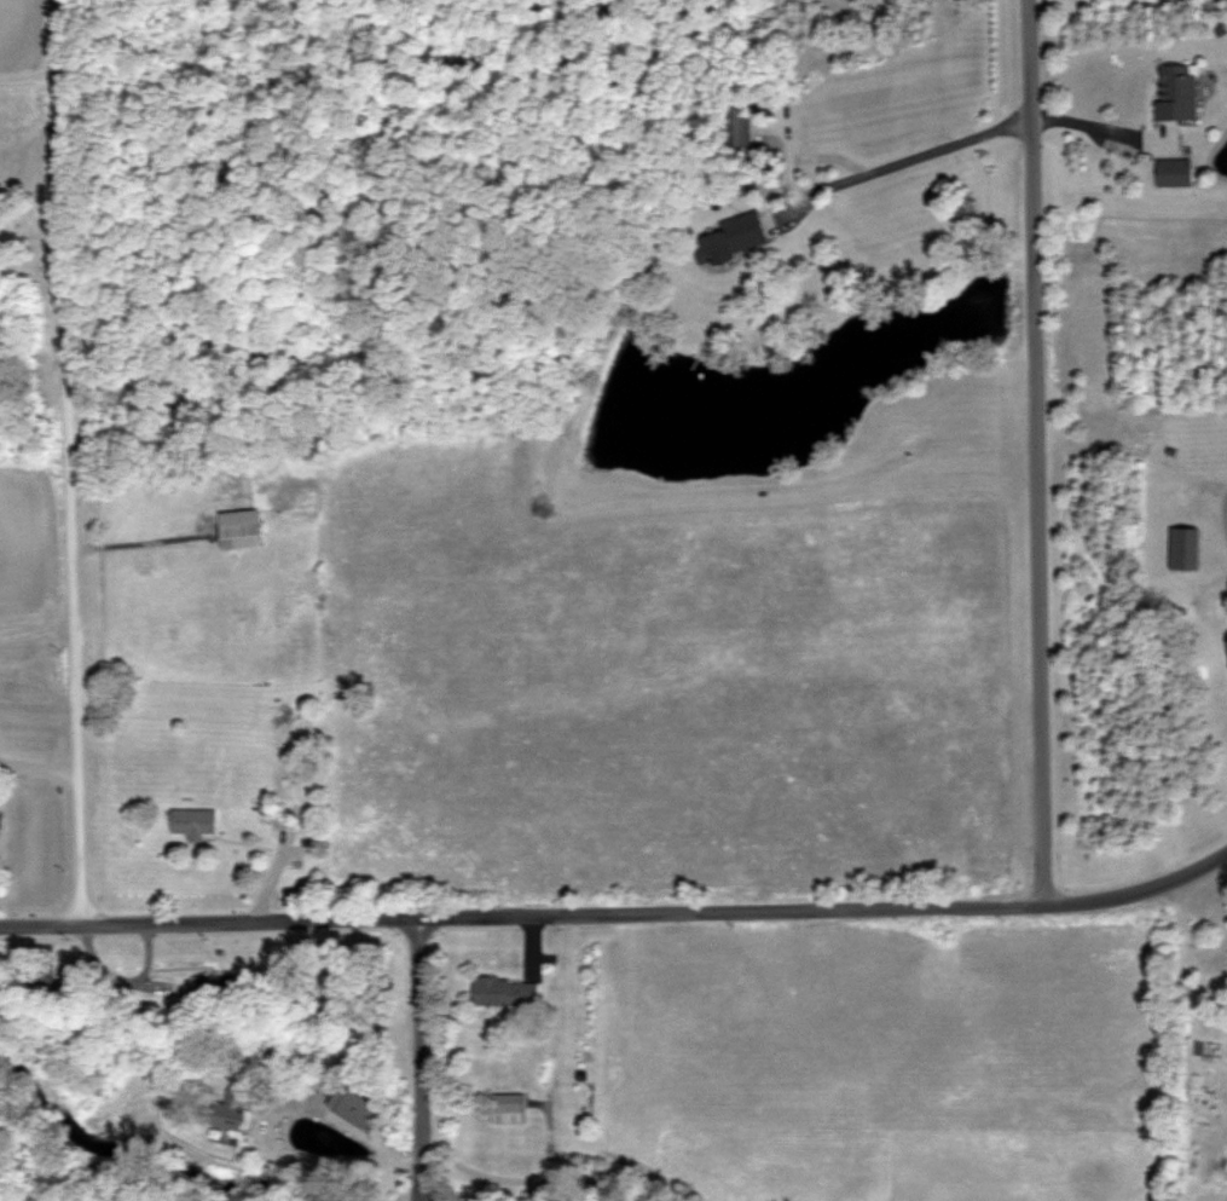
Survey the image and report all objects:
road: (30, 79)
building: (1177, 92)
road: (970, 135)
building: (1175, 173)
building: (734, 238)
road: (1034, 454)
road: (68, 463)
road: (1217, 519)
building: (239, 530)
building: (1183, 548)
road: (137, 550)
building: (193, 822)
road: (274, 880)
road: (619, 917)
building: (505, 992)
road: (418, 1057)
building: (507, 1109)
road: (341, 1133)
road: (508, 1195)

